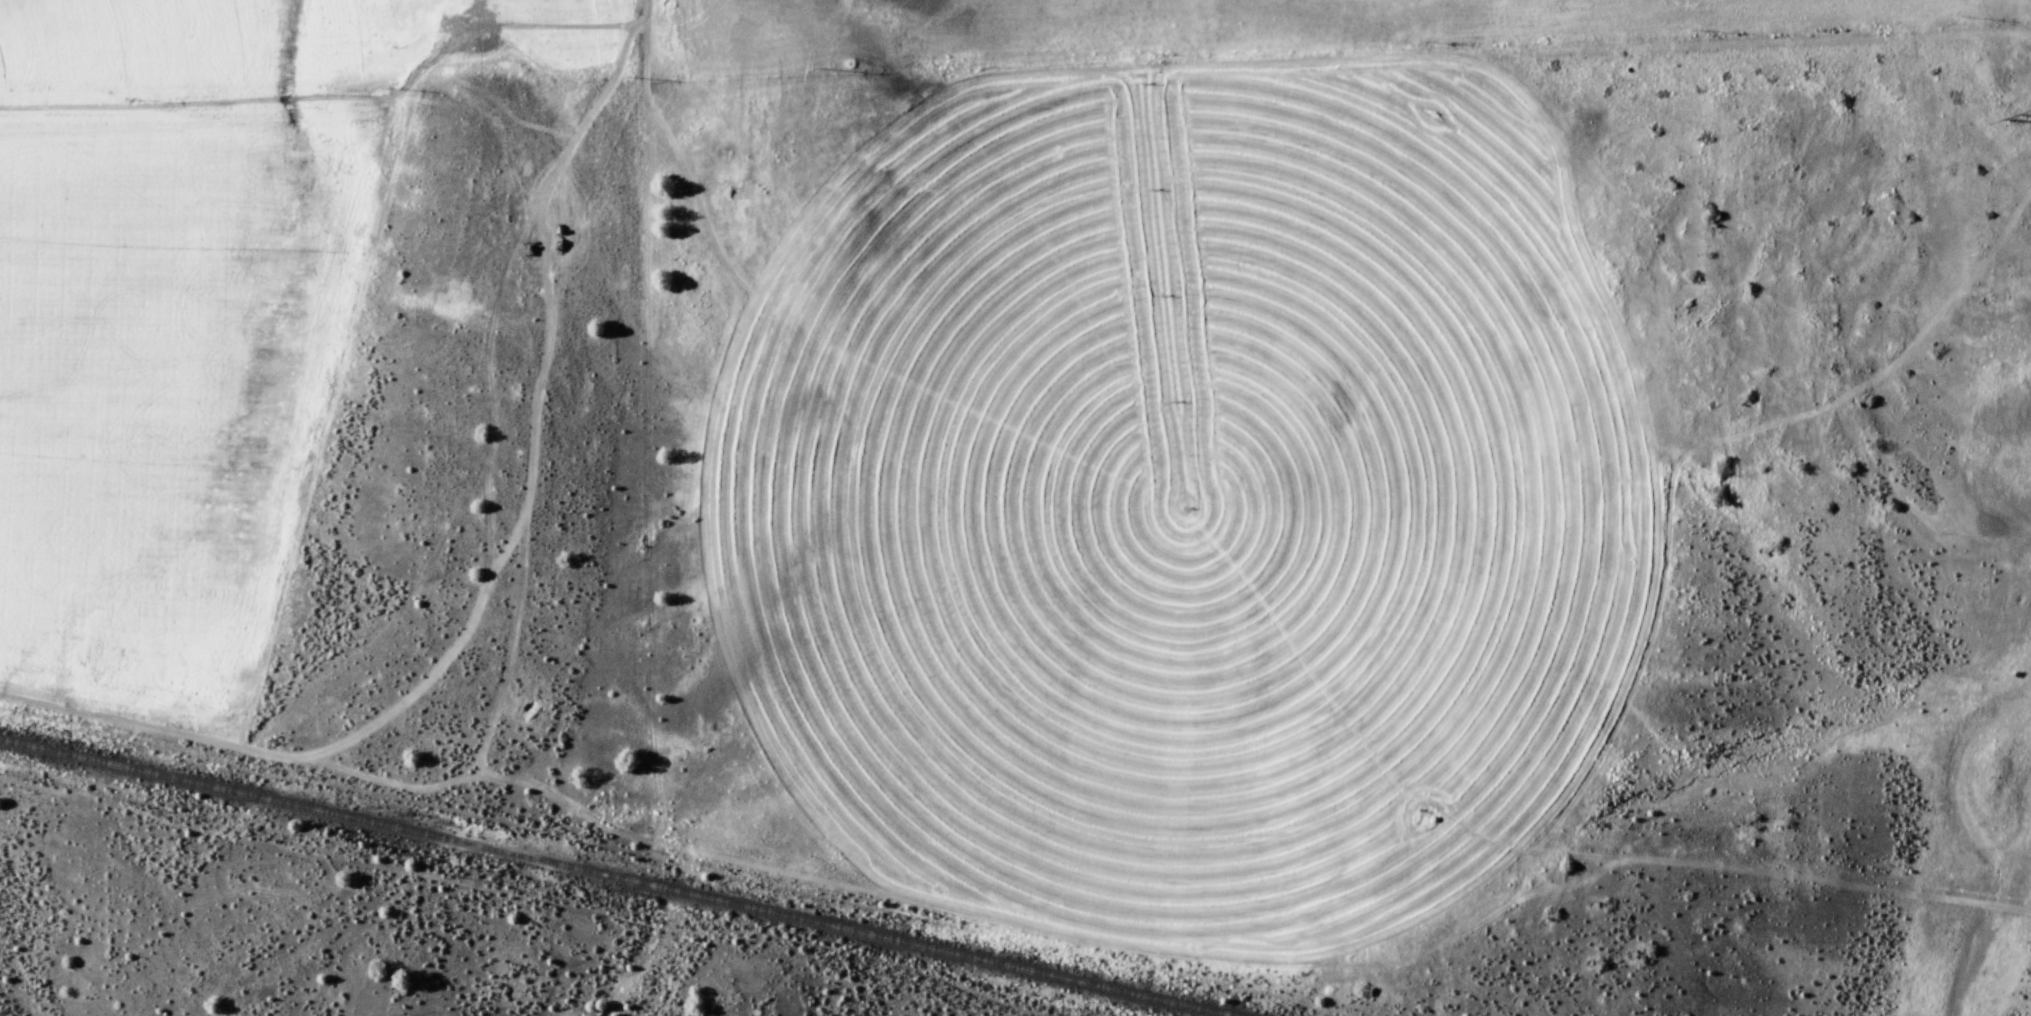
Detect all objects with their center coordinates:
road: (590, 9)
road: (640, 11)
road: (62, 42)
power tower: (2014, 118)
railway: (611, 880)

